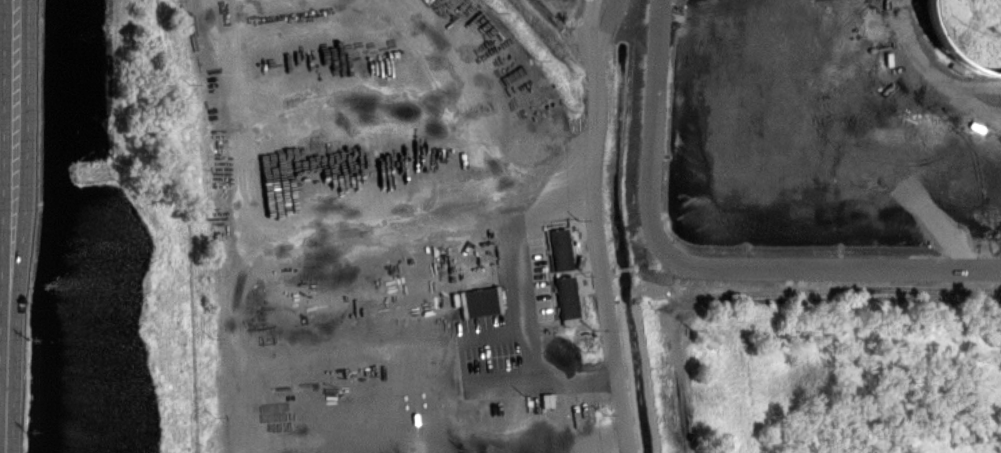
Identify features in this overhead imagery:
road: (14, 62)
road: (6, 124)
road: (13, 139)
road: (6, 153)
road: (12, 217)
road: (589, 225)
building: (557, 248)
road: (5, 281)
building: (565, 299)
building: (481, 301)
road: (4, 364)
road: (8, 367)
road: (4, 419)

